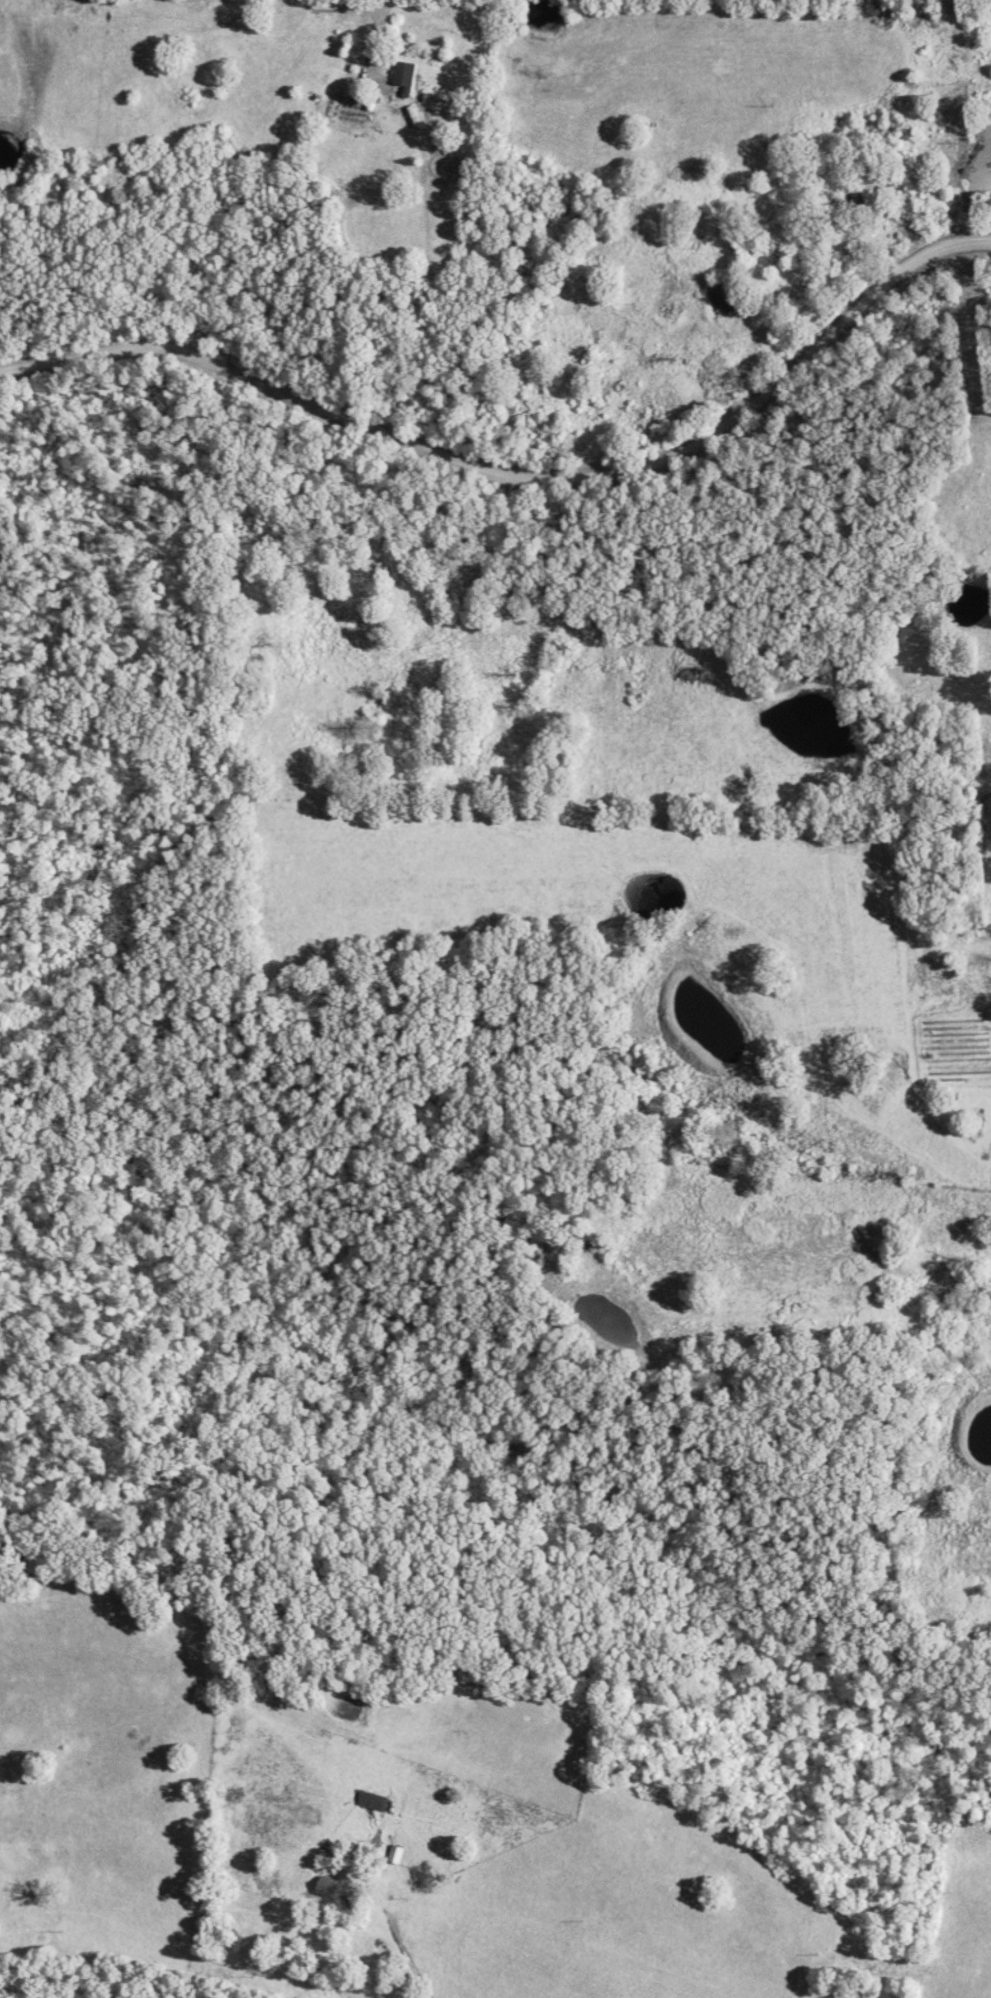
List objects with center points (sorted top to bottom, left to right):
building: (407, 76)
road: (875, 229)
building: (727, 302)
road: (771, 303)
road: (522, 478)
road: (908, 1018)
road: (403, 1959)

